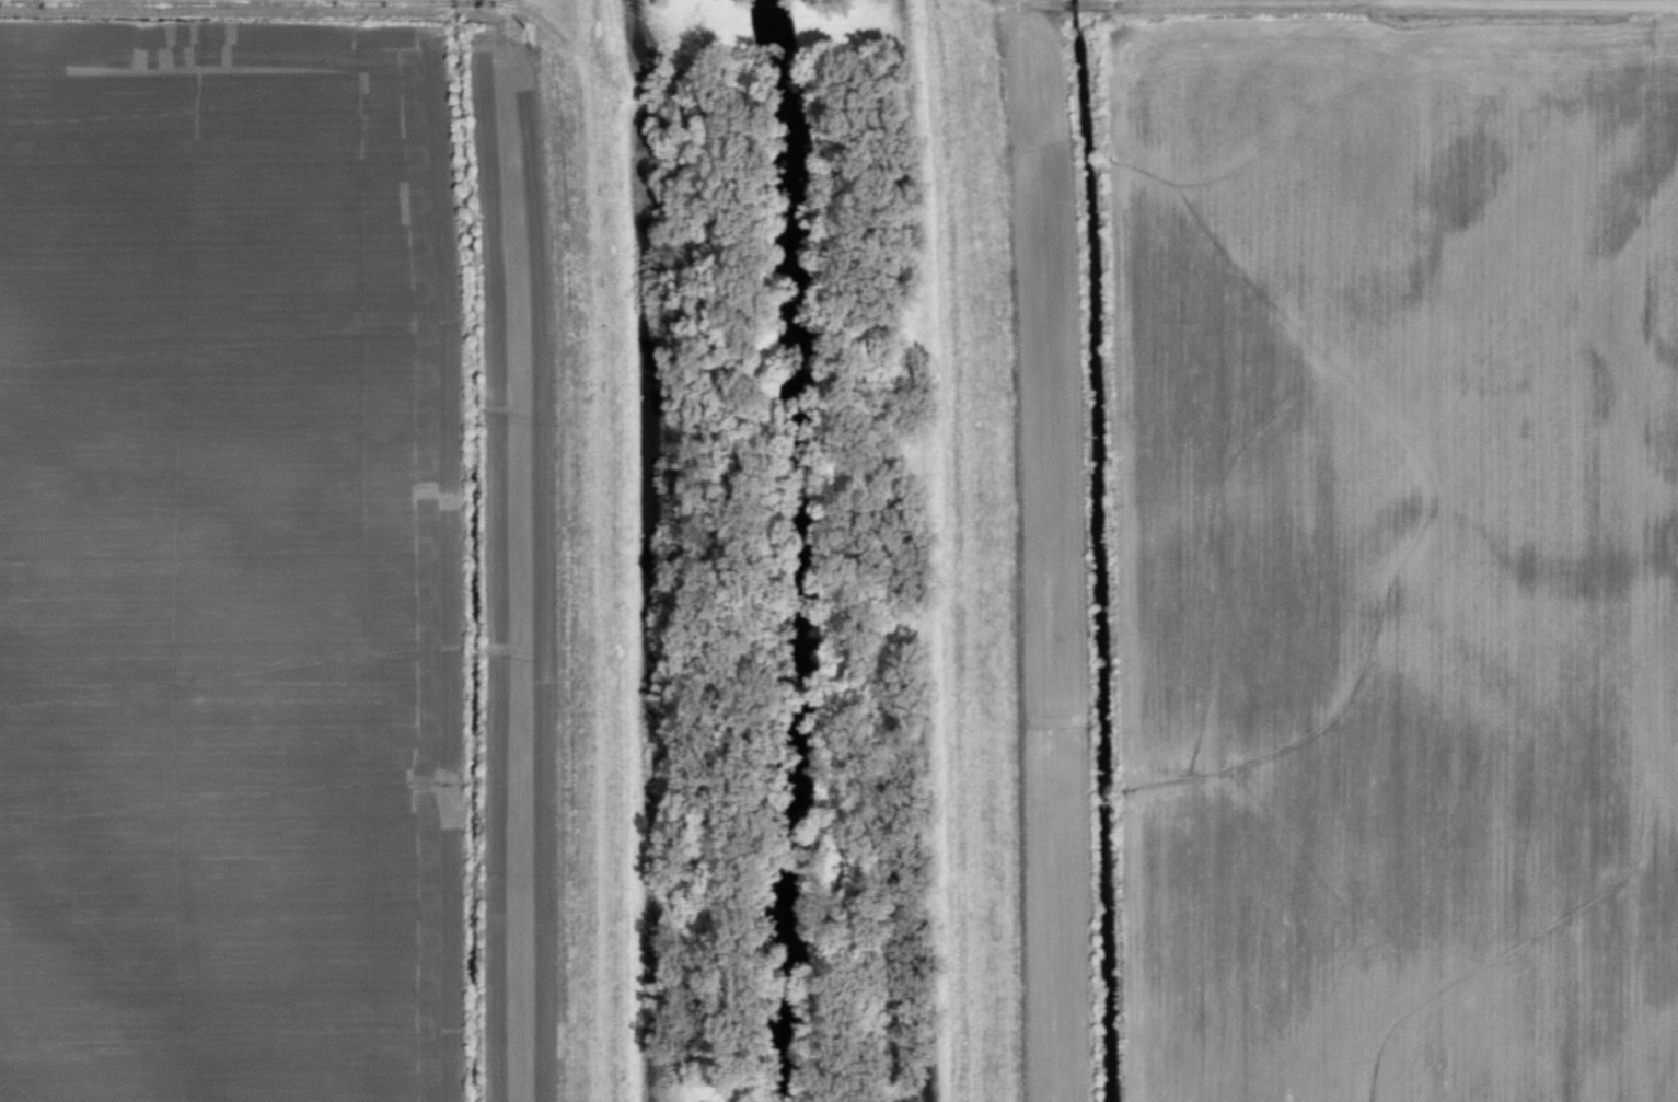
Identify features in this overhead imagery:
road: (224, 0)
road: (1523, 10)

